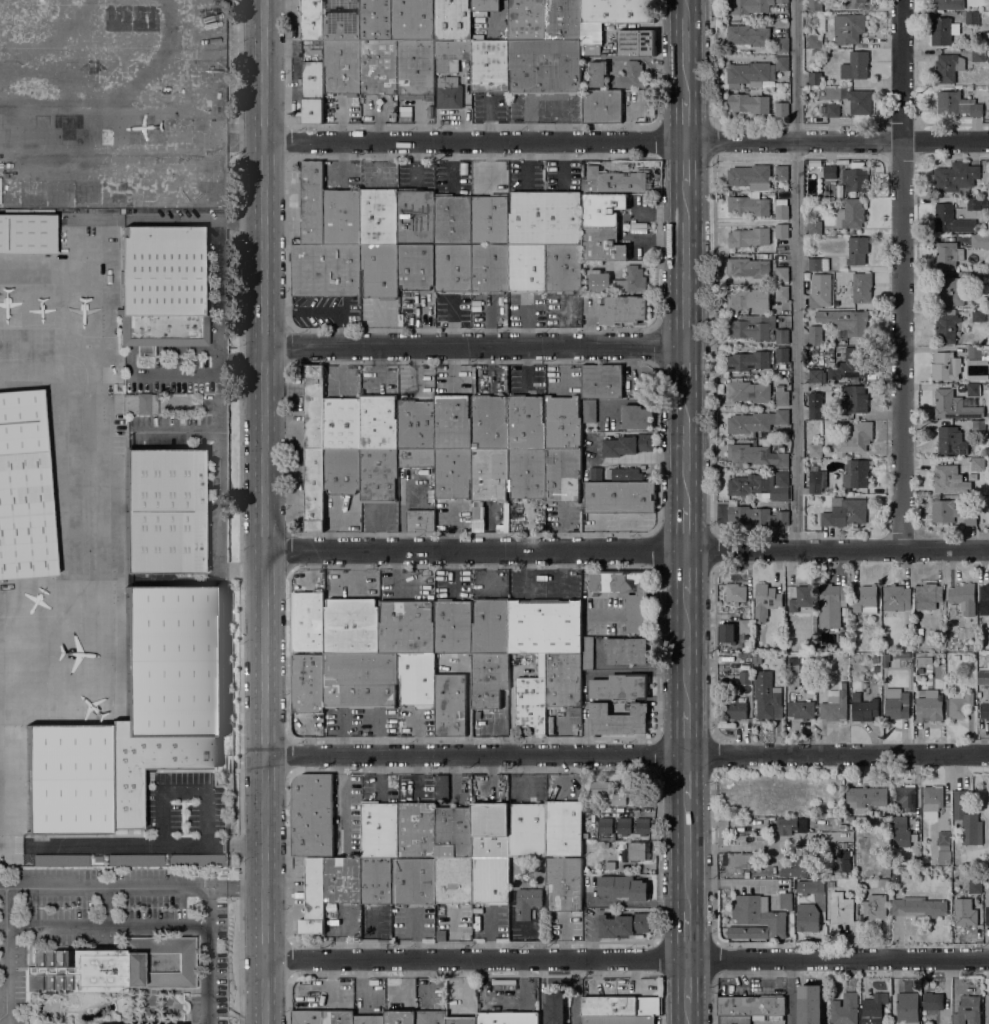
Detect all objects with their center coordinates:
building: (840, 2)
building: (782, 3)
building: (856, 4)
building: (948, 4)
building: (485, 5)
building: (814, 5)
building: (749, 7)
building: (618, 11)
building: (971, 17)
building: (311, 19)
building: (452, 19)
building: (341, 20)
building: (376, 20)
building: (413, 20)
building: (527, 20)
building: (562, 20)
building: (848, 28)
building: (942, 30)
building: (748, 35)
building: (815, 41)
building: (635, 42)
building: (781, 45)
building: (590, 49)
road: (685, 50)
building: (450, 55)
building: (986, 55)
building: (978, 56)
building: (318, 57)
building: (855, 65)
building: (342, 66)
building: (490, 66)
building: (378, 67)
building: (545, 67)
building: (948, 67)
building: (415, 70)
building: (756, 71)
building: (597, 73)
building: (632, 76)
building: (815, 78)
building: (312, 92)
building: (449, 93)
building: (860, 101)
building: (748, 103)
building: (957, 104)
building: (602, 107)
building: (782, 109)
building: (832, 110)
road: (685, 120)
road: (626, 141)
road: (685, 163)
building: (781, 172)
building: (830, 172)
building: (955, 176)
building: (750, 177)
building: (855, 179)
building: (612, 181)
building: (973, 203)
building: (985, 203)
building: (312, 204)
building: (749, 206)
building: (602, 209)
building: (110, 211)
building: (781, 212)
building: (850, 214)
building: (379, 216)
building: (342, 217)
building: (416, 217)
building: (544, 218)
building: (490, 219)
building: (951, 219)
road: (174, 220)
building: (452, 220)
road: (241, 223)
building: (815, 227)
building: (781, 231)
airport hangar: (27, 234)
building: (27, 234)
building: (749, 237)
building: (980, 241)
building: (602, 245)
building: (857, 250)
building: (947, 255)
building: (819, 264)
building: (416, 266)
road: (685, 266)
building: (749, 267)
building: (453, 268)
building: (490, 268)
building: (527, 268)
building: (563, 268)
building: (325, 270)
building: (380, 271)
road: (795, 273)
building: (781, 274)
road: (901, 274)
building: (978, 280)
building: (618, 281)
building: (862, 287)
building: (160, 288)
road: (220, 289)
building: (782, 292)
building: (951, 292)
building: (749, 301)
building: (815, 301)
building: (622, 309)
building: (978, 316)
building: (846, 321)
building: (946, 327)
building: (748, 329)
building: (781, 336)
building: (815, 336)
road: (473, 346)
building: (826, 349)
building: (977, 351)
building: (781, 354)
road: (242, 357)
airport taxiway: (24, 361)
building: (750, 361)
building: (850, 364)
building: (946, 366)
road: (685, 367)
building: (815, 376)
road: (185, 378)
building: (602, 382)
building: (815, 385)
building: (977, 389)
building: (757, 392)
building: (856, 399)
building: (139, 404)
building: (947, 404)
building: (815, 406)
building: (314, 408)
building: (589, 410)
building: (636, 417)
building: (756, 421)
building: (378, 422)
building: (452, 422)
building: (489, 422)
building: (526, 422)
building: (563, 422)
building: (342, 424)
building: (416, 425)
building: (978, 427)
airport: (116, 429)
building: (855, 438)
building: (951, 441)
building: (627, 445)
road: (685, 447)
building: (815, 450)
building: (986, 451)
building: (756, 455)
building: (416, 457)
building: (978, 464)
building: (342, 471)
building: (453, 473)
building: (527, 473)
building: (489, 474)
building: (615, 474)
building: (856, 474)
building: (379, 475)
building: (563, 475)
building: (782, 479)
building: (949, 479)
building: (815, 482)
building: (750, 485)
airport hangar: (23, 489)
building: (23, 489)
building: (314, 490)
building: (781, 493)
building: (432, 495)
building: (619, 498)
building: (944, 510)
building: (162, 511)
road: (240, 511)
road: (263, 512)
building: (844, 512)
building: (757, 516)
building: (970, 518)
building: (420, 521)
road: (685, 527)
road: (626, 549)
road: (685, 571)
building: (584, 576)
building: (735, 593)
building: (627, 594)
building: (928, 595)
building: (963, 595)
building: (801, 598)
building: (897, 598)
building: (984, 599)
building: (866, 600)
building: (765, 602)
building: (831, 605)
building: (307, 621)
building: (453, 625)
building: (351, 626)
building: (407, 626)
building: (490, 626)
building: (545, 626)
building: (746, 626)
building: (920, 631)
building: (727, 633)
building: (909, 638)
building: (842, 640)
building: (812, 647)
building: (626, 650)
road: (686, 652)
building: (587, 653)
building: (903, 655)
building: (744, 656)
building: (845, 656)
building: (811, 657)
building: (757, 658)
building: (875, 659)
building: (925, 660)
building: (876, 669)
building: (745, 677)
building: (417, 679)
building: (488, 679)
building: (360, 680)
building: (563, 680)
building: (308, 683)
building: (621, 686)
building: (767, 697)
building: (532, 700)
building: (897, 704)
building: (450, 705)
building: (835, 705)
building: (959, 705)
building: (929, 706)
building: (735, 708)
building: (864, 709)
building: (801, 710)
building: (983, 711)
building: (575, 716)
airport hangar: (135, 718)
building: (135, 718)
building: (618, 718)
road: (687, 733)
road: (626, 754)
road: (687, 776)
building: (440, 786)
building: (601, 788)
road: (184, 791)
building: (867, 796)
building: (906, 797)
building: (617, 799)
building: (932, 800)
building: (312, 815)
building: (967, 820)
building: (605, 825)
building: (786, 825)
building: (624, 826)
building: (643, 826)
building: (563, 828)
building: (490, 829)
building: (379, 830)
building: (416, 830)
building: (528, 830)
building: (453, 832)
building: (901, 832)
road: (144, 842)
building: (605, 845)
building: (944, 847)
building: (633, 851)
road: (687, 855)
building: (59, 860)
building: (134, 860)
building: (916, 860)
building: (741, 861)
building: (842, 861)
building: (609, 865)
building: (797, 867)
building: (895, 878)
building: (453, 880)
building: (490, 880)
building: (342, 881)
building: (376, 881)
building: (413, 881)
building: (831, 883)
building: (564, 884)
building: (883, 884)
building: (975, 886)
road: (171, 887)
road: (235, 887)
building: (623, 887)
building: (810, 887)
building: (313, 897)
building: (786, 901)
building: (525, 903)
building: (920, 906)
building: (841, 908)
building: (874, 909)
building: (987, 910)
building: (759, 914)
building: (965, 917)
building: (807, 918)
road: (107, 923)
parking lot: (111, 923)
building: (624, 925)
road: (687, 935)
road: (627, 958)
building: (115, 967)
road: (6, 970)
road: (687, 980)
road: (573, 991)
road: (790, 991)
building: (933, 1001)
building: (811, 1004)
building: (554, 1006)
building: (622, 1006)
building: (751, 1006)
building: (987, 1007)
building: (873, 1008)
building: (907, 1008)
building: (845, 1009)
building: (967, 1010)
road: (687, 1013)
building: (431, 1016)
building: (307, 1017)
building: (338, 1017)
building: (400, 1017)
building: (508, 1018)
building: (369, 1019)
building: (461, 1020)
building: (619, 1020)
building: (734, 1020)

